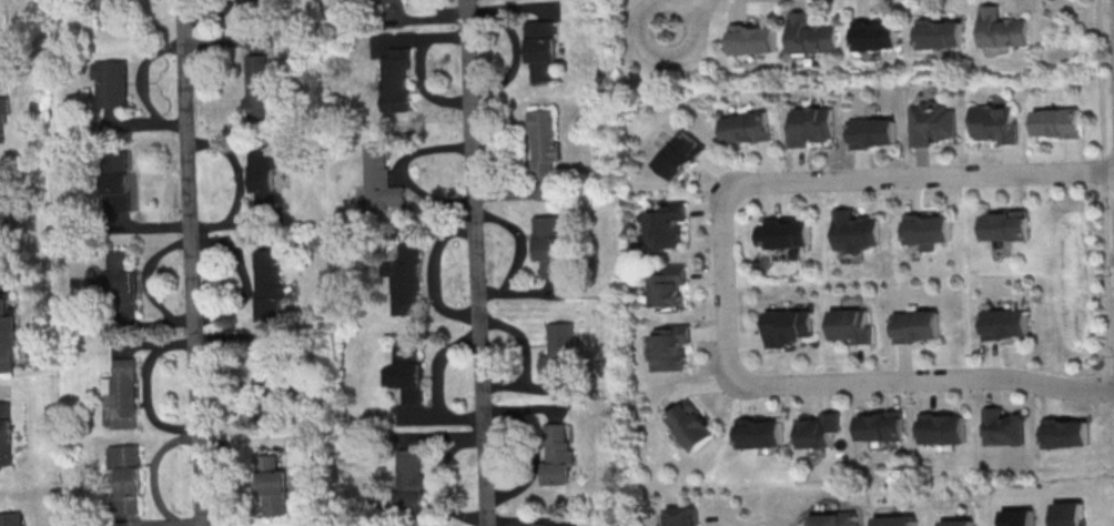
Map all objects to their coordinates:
building: (392, 1)
road: (700, 3)
building: (253, 8)
building: (104, 11)
road: (644, 17)
road: (1098, 20)
building: (1003, 30)
building: (940, 34)
building: (812, 36)
building: (877, 36)
building: (753, 40)
building: (543, 50)
building: (395, 79)
building: (111, 83)
building: (260, 84)
building: (3, 113)
building: (994, 122)
building: (1056, 122)
building: (932, 123)
building: (810, 124)
building: (746, 128)
building: (872, 133)
building: (545, 145)
building: (679, 154)
road: (869, 178)
building: (111, 179)
building: (262, 180)
building: (381, 182)
building: (6, 211)
building: (665, 224)
building: (1005, 225)
building: (928, 230)
building: (854, 231)
building: (784, 234)
building: (549, 246)
road: (193, 262)
road: (477, 263)
building: (404, 279)
building: (121, 280)
building: (267, 285)
building: (669, 285)
building: (851, 324)
building: (1005, 324)
building: (788, 326)
building: (916, 327)
building: (7, 340)
building: (669, 346)
building: (560, 351)
building: (407, 371)
road: (884, 382)
building: (120, 394)
building: (690, 425)
building: (882, 426)
building: (1003, 427)
building: (943, 428)
building: (819, 429)
building: (1066, 432)
building: (6, 433)
building: (760, 433)
building: (557, 453)
building: (125, 478)
building: (409, 481)
building: (273, 486)
building: (1070, 514)
building: (681, 517)
building: (1017, 517)
building: (11, 518)
building: (833, 519)
building: (895, 520)
building: (958, 523)

